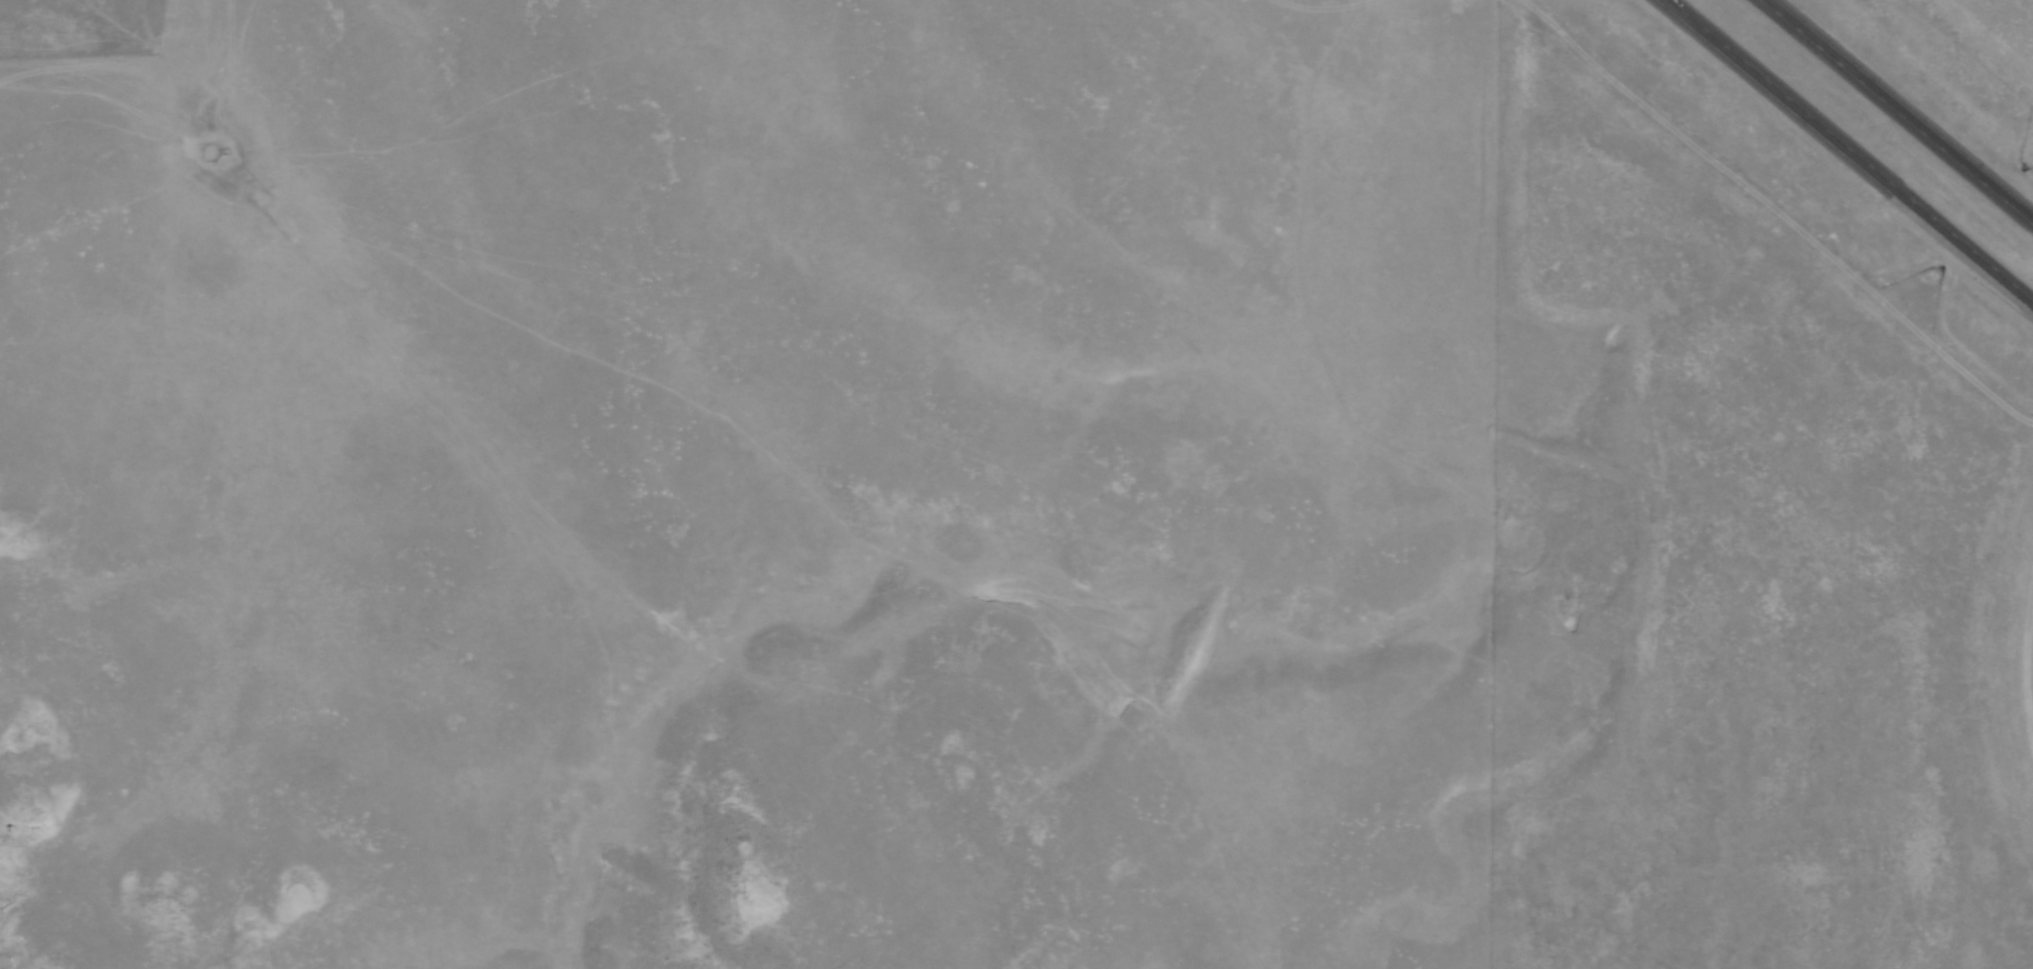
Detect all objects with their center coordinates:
road: (1894, 112)
road: (1849, 150)
road: (2030, 669)

